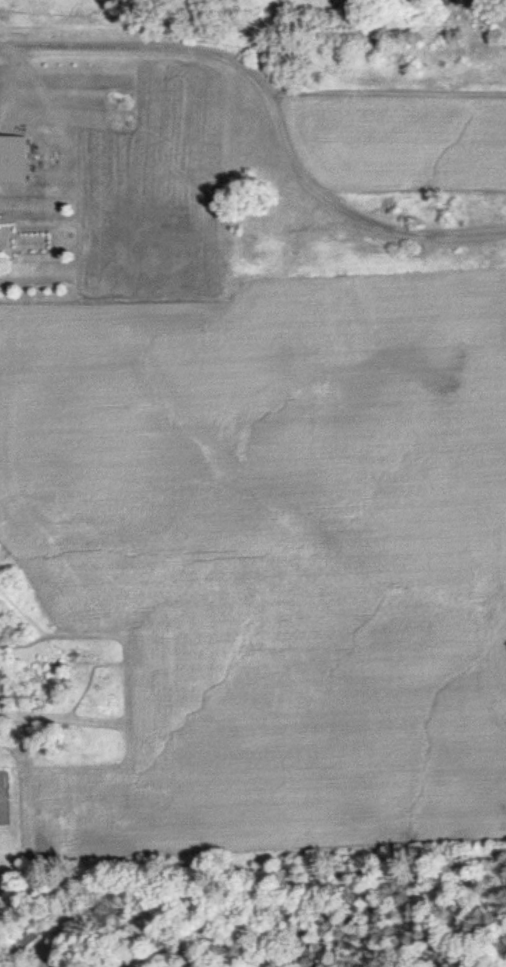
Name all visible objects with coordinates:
road: (5, 70)
building: (13, 156)
building: (3, 666)
building: (28, 933)

